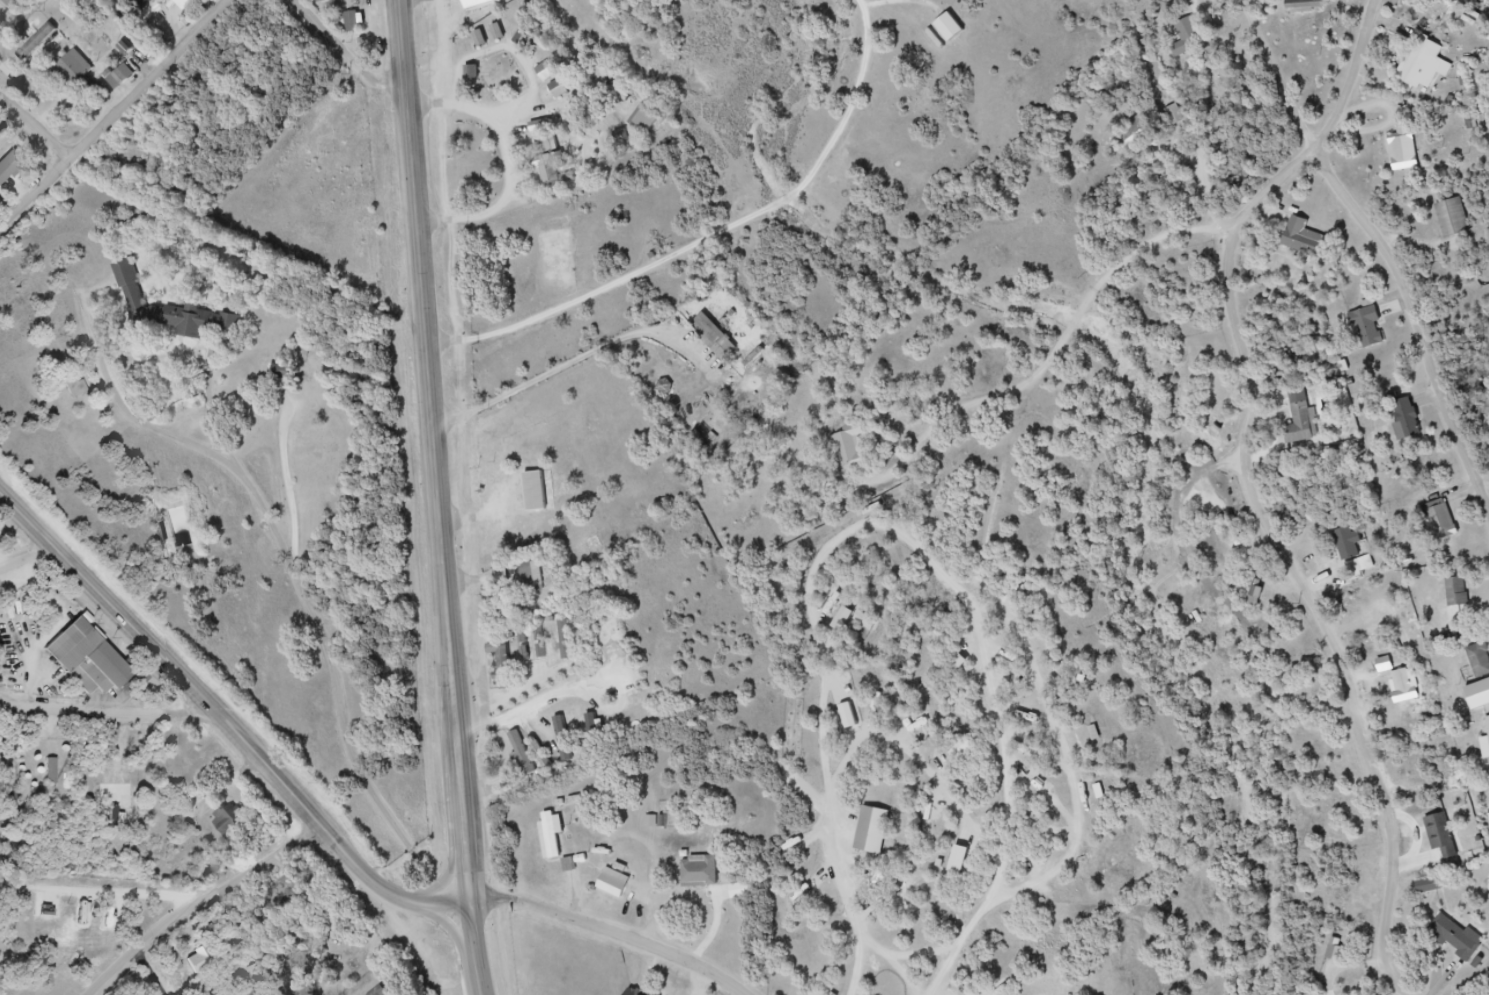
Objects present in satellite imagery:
building: (319, 0)
building: (334, 1)
building: (478, 2)
building: (183, 3)
building: (19, 4)
building: (1312, 5)
building: (168, 10)
building: (162, 14)
building: (353, 22)
building: (949, 28)
building: (497, 32)
building: (1189, 35)
building: (523, 41)
building: (36, 43)
road: (350, 51)
building: (1432, 66)
building: (82, 69)
building: (472, 72)
building: (545, 72)
building: (126, 80)
building: (558, 90)
road: (112, 115)
road: (39, 116)
building: (1180, 118)
building: (643, 121)
road: (1334, 129)
building: (1144, 136)
building: (1410, 152)
road: (417, 163)
building: (554, 172)
building: (15, 173)
building: (0, 196)
building: (1460, 223)
road: (1385, 238)
building: (1313, 243)
building: (184, 321)
building: (1376, 329)
road: (1076, 332)
building: (718, 339)
road: (578, 365)
building: (281, 375)
building: (1299, 417)
building: (1310, 421)
building: (1417, 422)
building: (858, 453)
building: (534, 492)
building: (544, 500)
building: (1448, 525)
building: (1354, 547)
road: (32, 565)
building: (532, 577)
road: (307, 581)
building: (1457, 593)
building: (1465, 600)
road: (1325, 614)
building: (522, 637)
building: (565, 640)
building: (541, 643)
building: (1480, 660)
road: (454, 662)
building: (508, 665)
building: (96, 666)
building: (1404, 683)
building: (1482, 690)
road: (111, 705)
road: (527, 708)
road: (226, 717)
building: (1488, 722)
building: (593, 728)
building: (563, 740)
building: (1488, 745)
building: (541, 756)
building: (519, 760)
building: (12, 795)
building: (233, 824)
building: (879, 839)
building: (1449, 840)
building: (559, 842)
building: (711, 876)
building: (1429, 885)
building: (621, 888)
road: (97, 892)
road: (198, 898)
road: (618, 925)
building: (1464, 941)
road: (971, 942)
building: (1336, 954)
building: (198, 957)
road: (153, 970)
building: (380, 991)
building: (387, 992)

